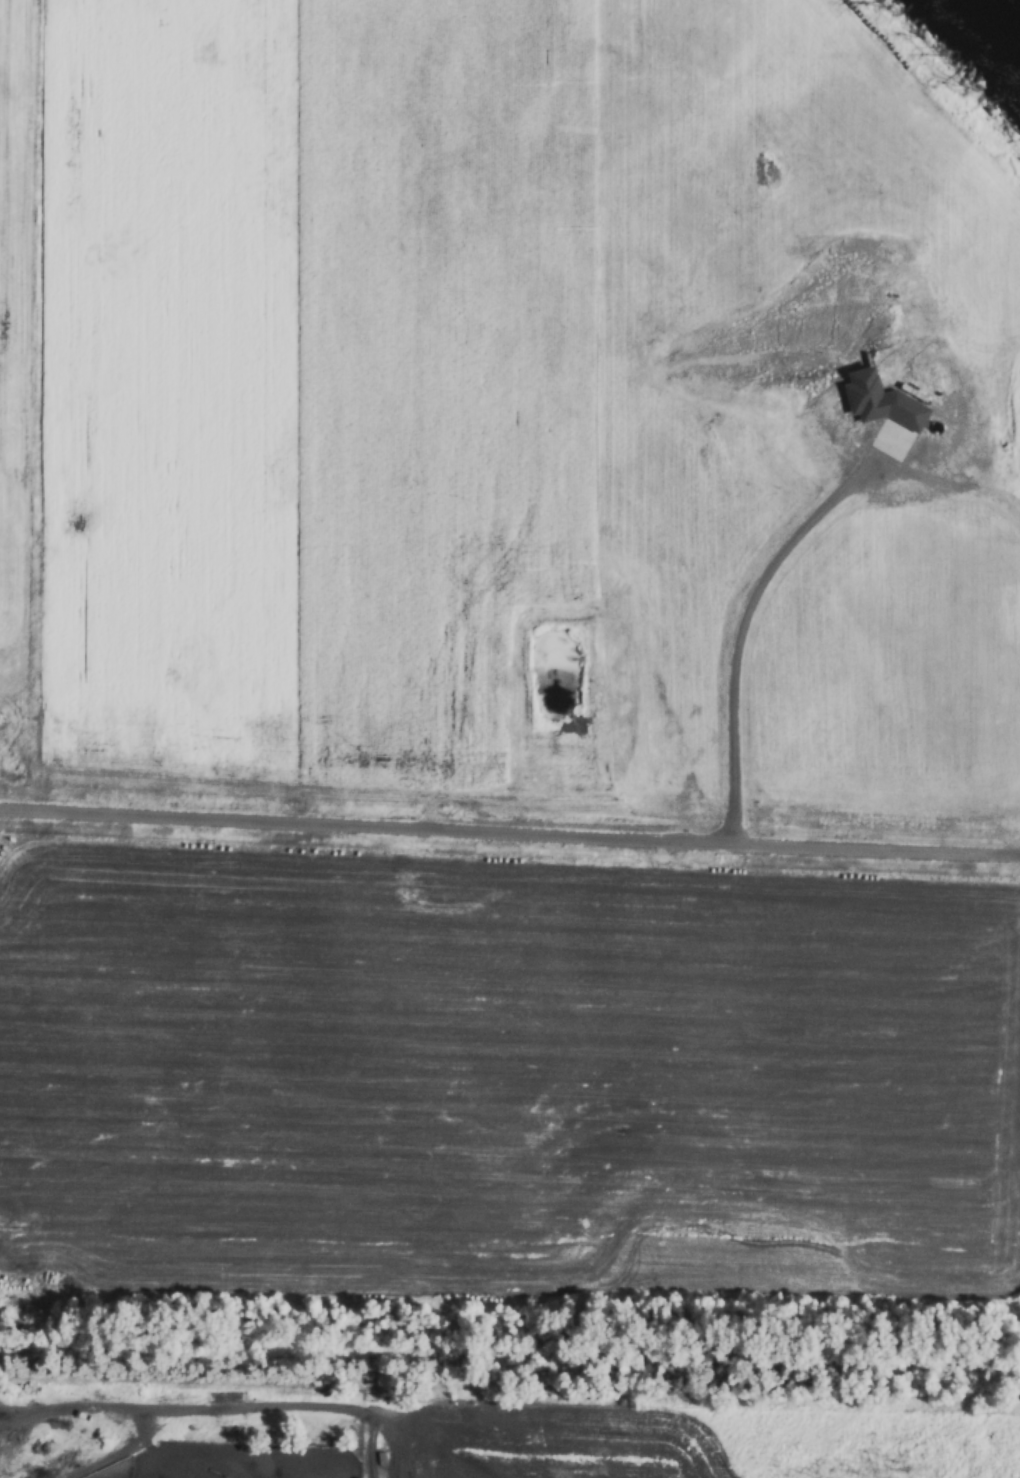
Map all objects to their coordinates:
road: (509, 832)
crop: (503, 1071)

